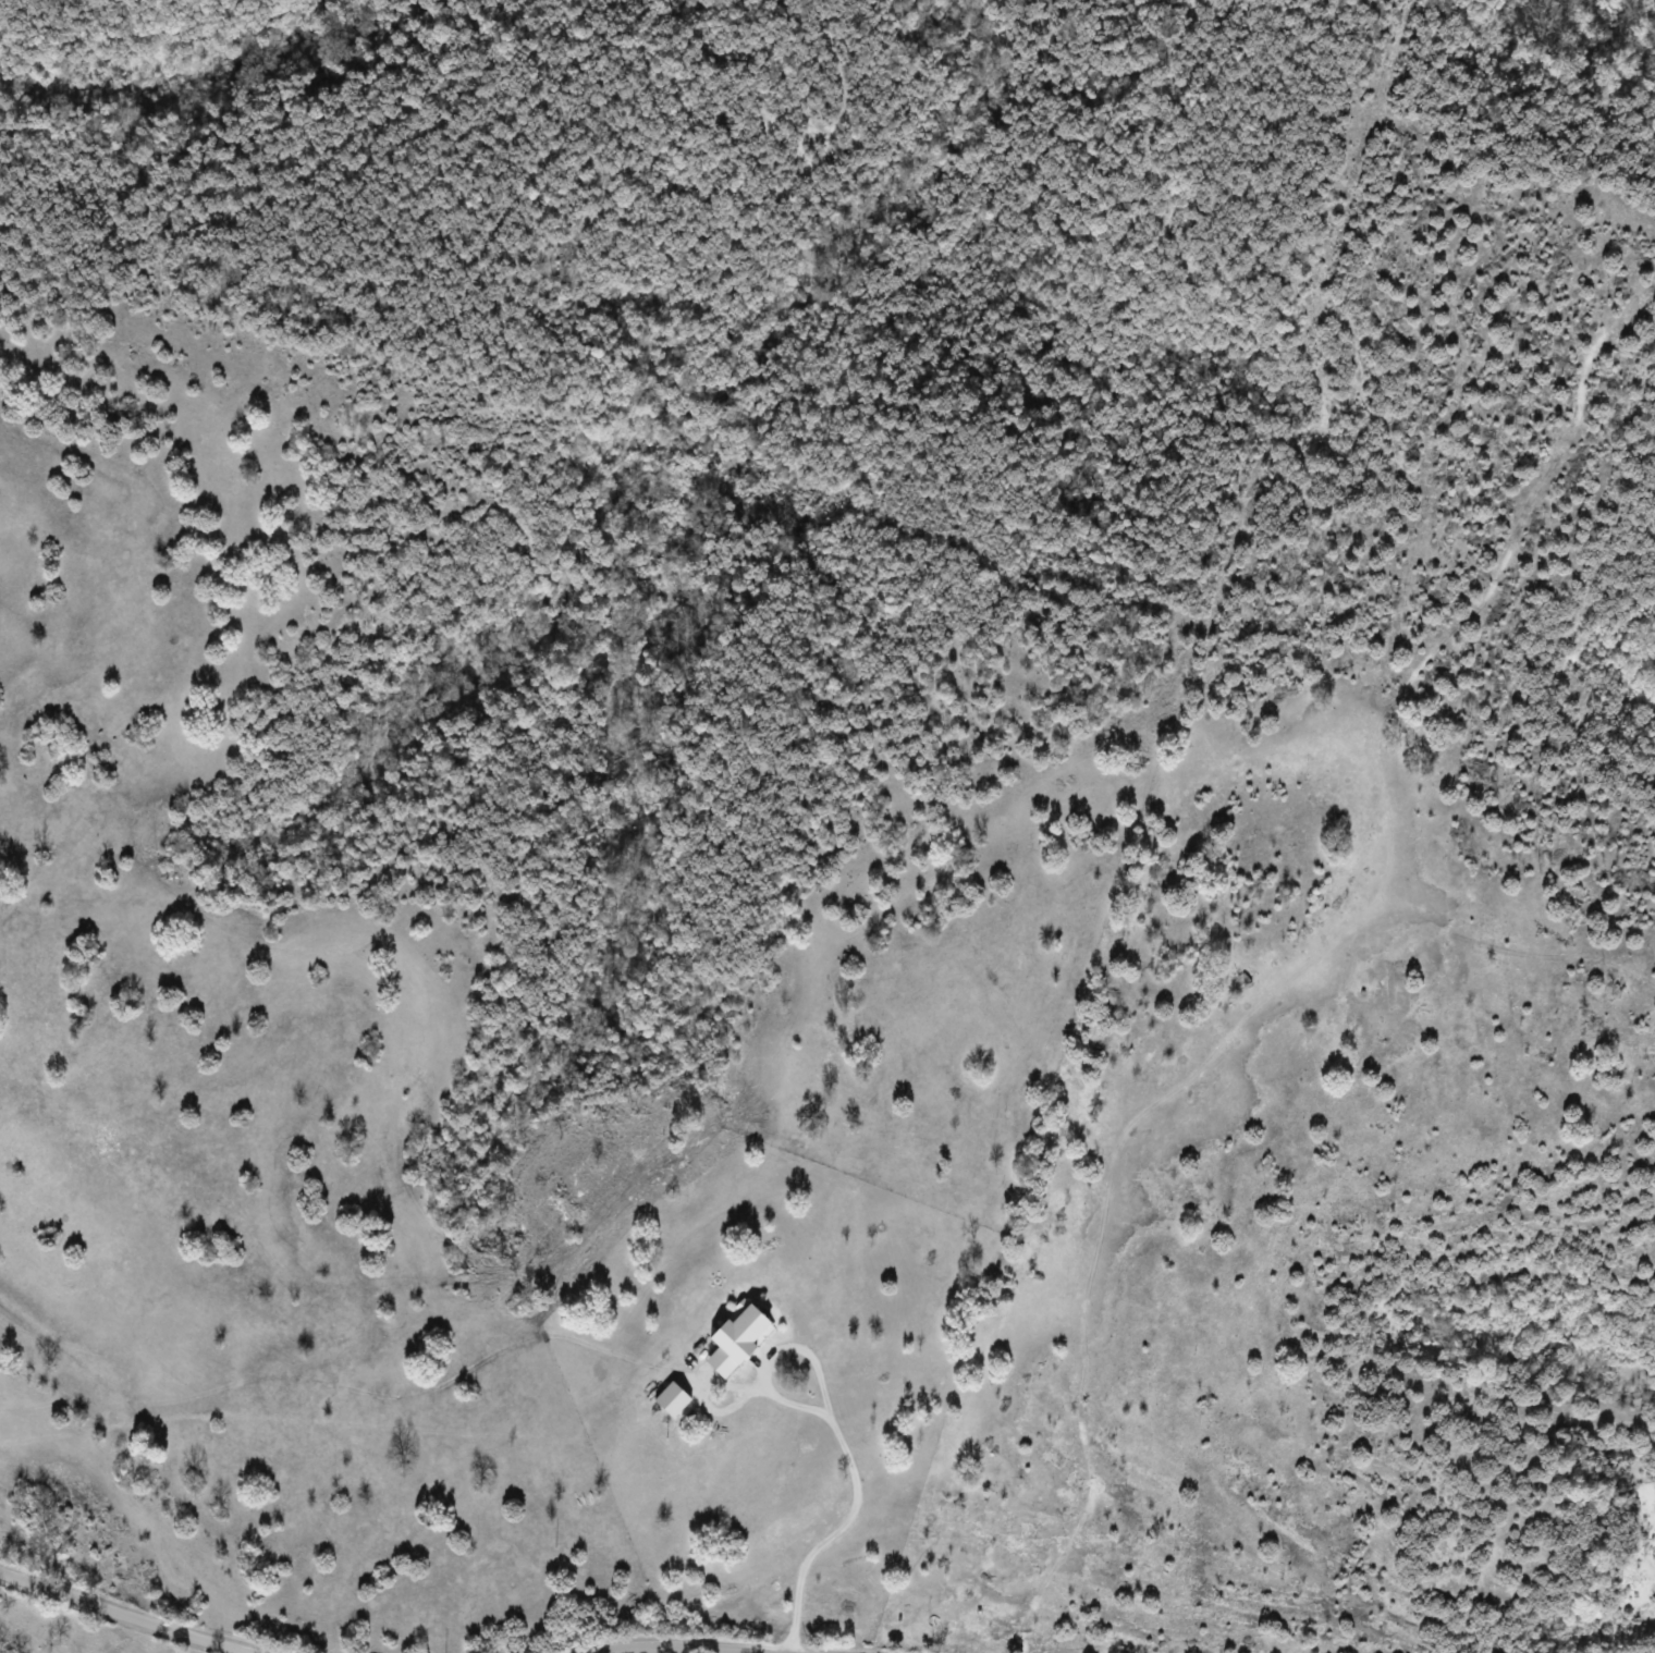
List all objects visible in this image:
road: (123, 1615)
road: (675, 1648)

